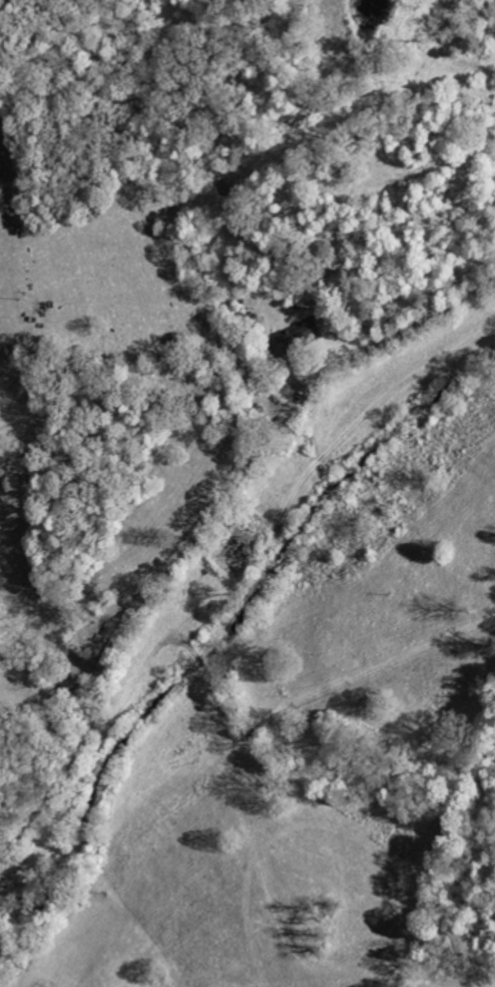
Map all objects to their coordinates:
road: (203, 524)

